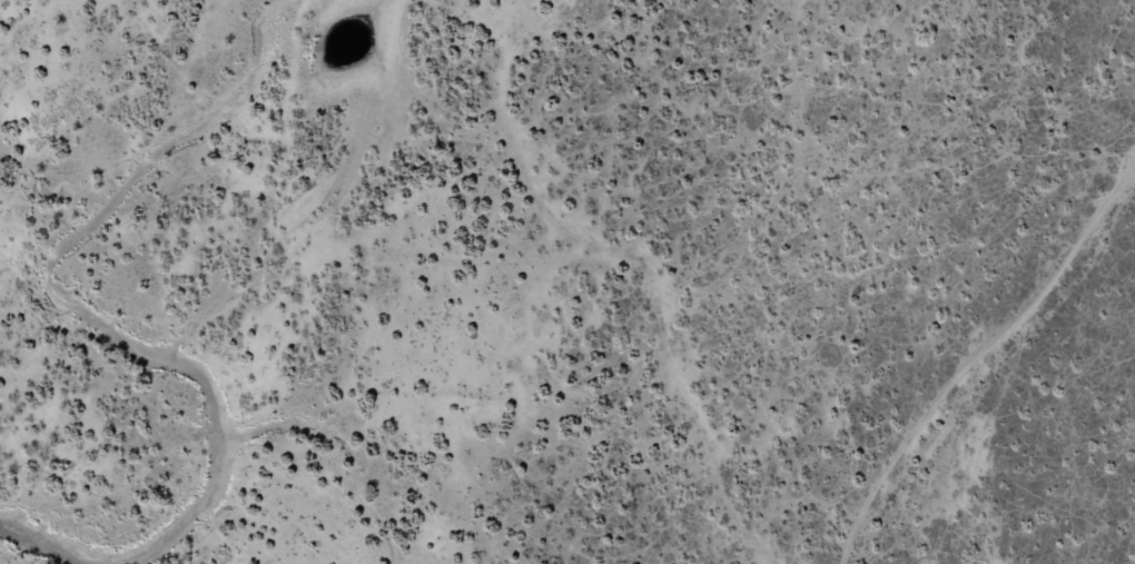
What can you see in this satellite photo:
road: (996, 385)

